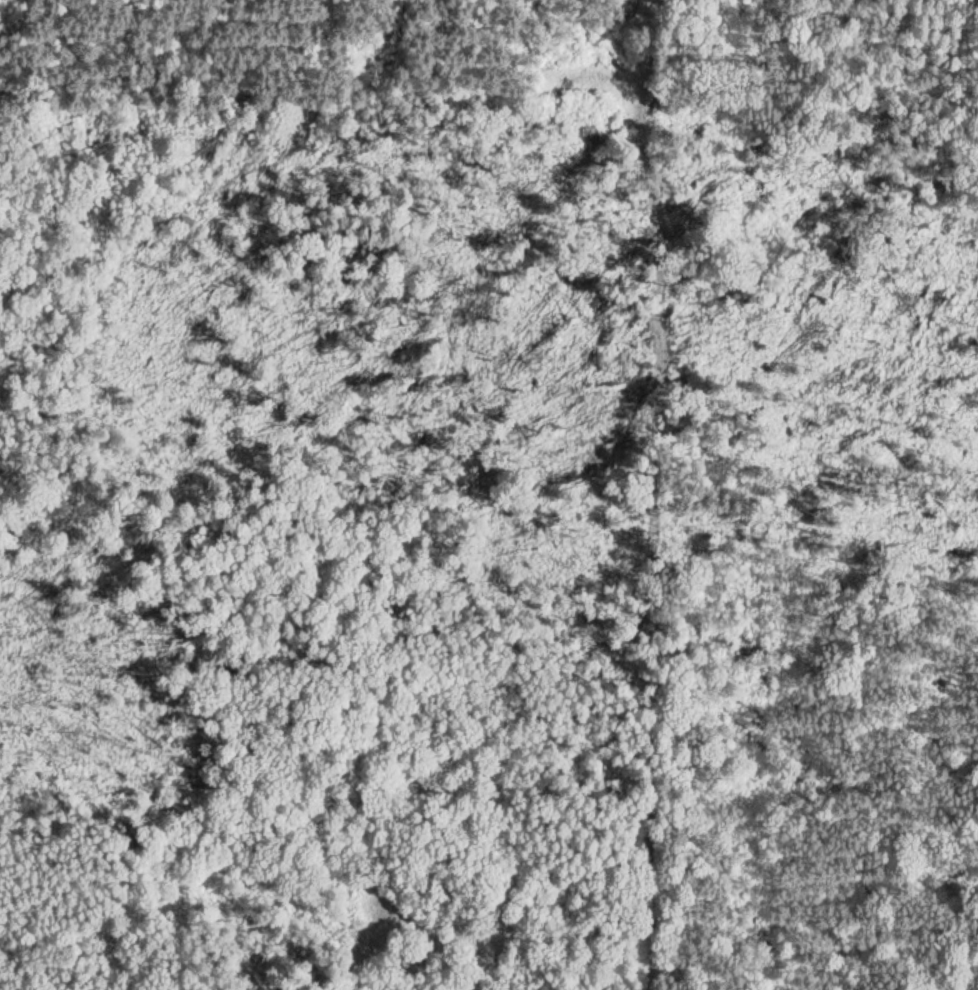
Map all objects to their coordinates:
road: (648, 494)

